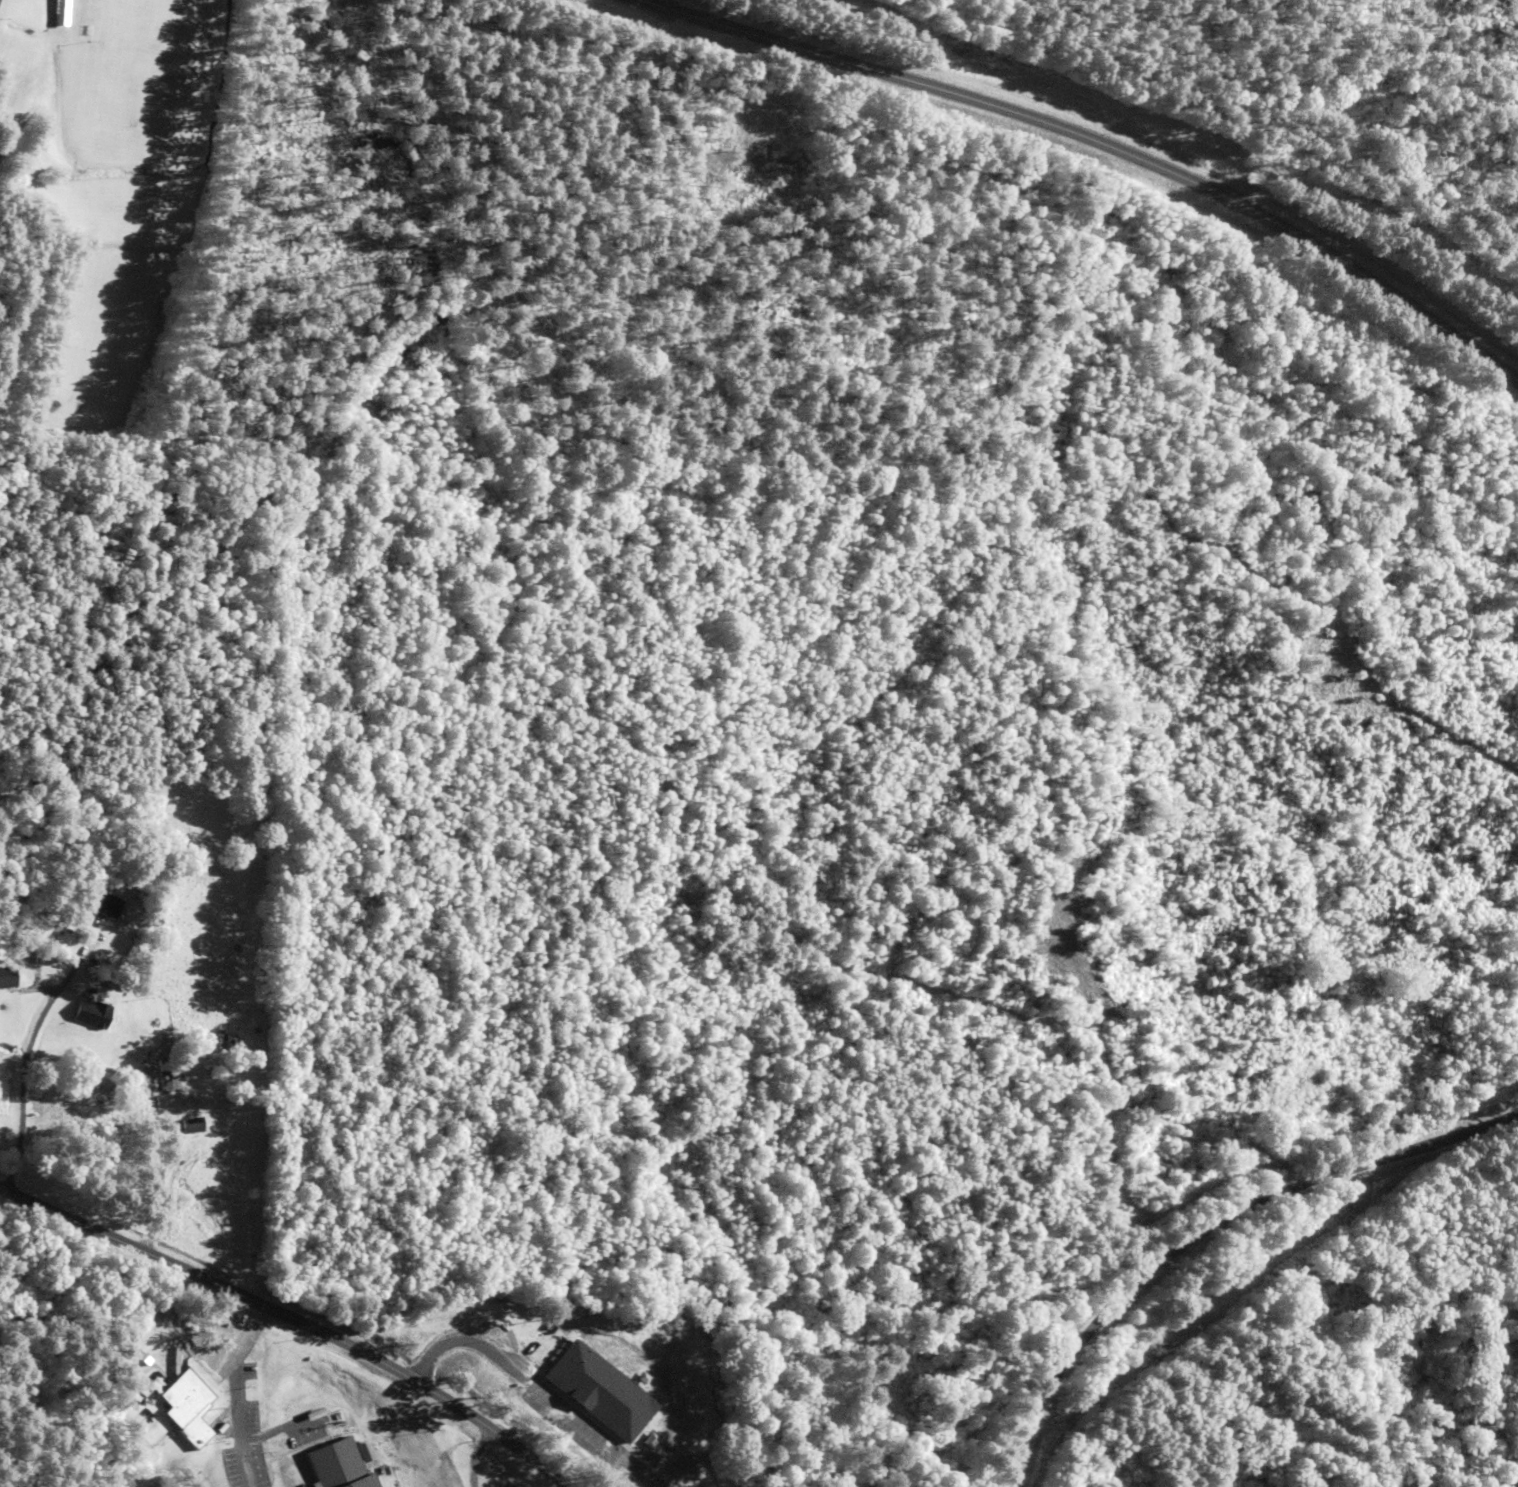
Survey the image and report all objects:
road: (1093, 146)
building: (106, 905)
building: (6, 977)
building: (229, 1044)
building: (167, 1080)
building: (191, 1124)
road: (1207, 1238)
road: (297, 1323)
building: (185, 1406)
building: (585, 1417)
building: (342, 1464)

